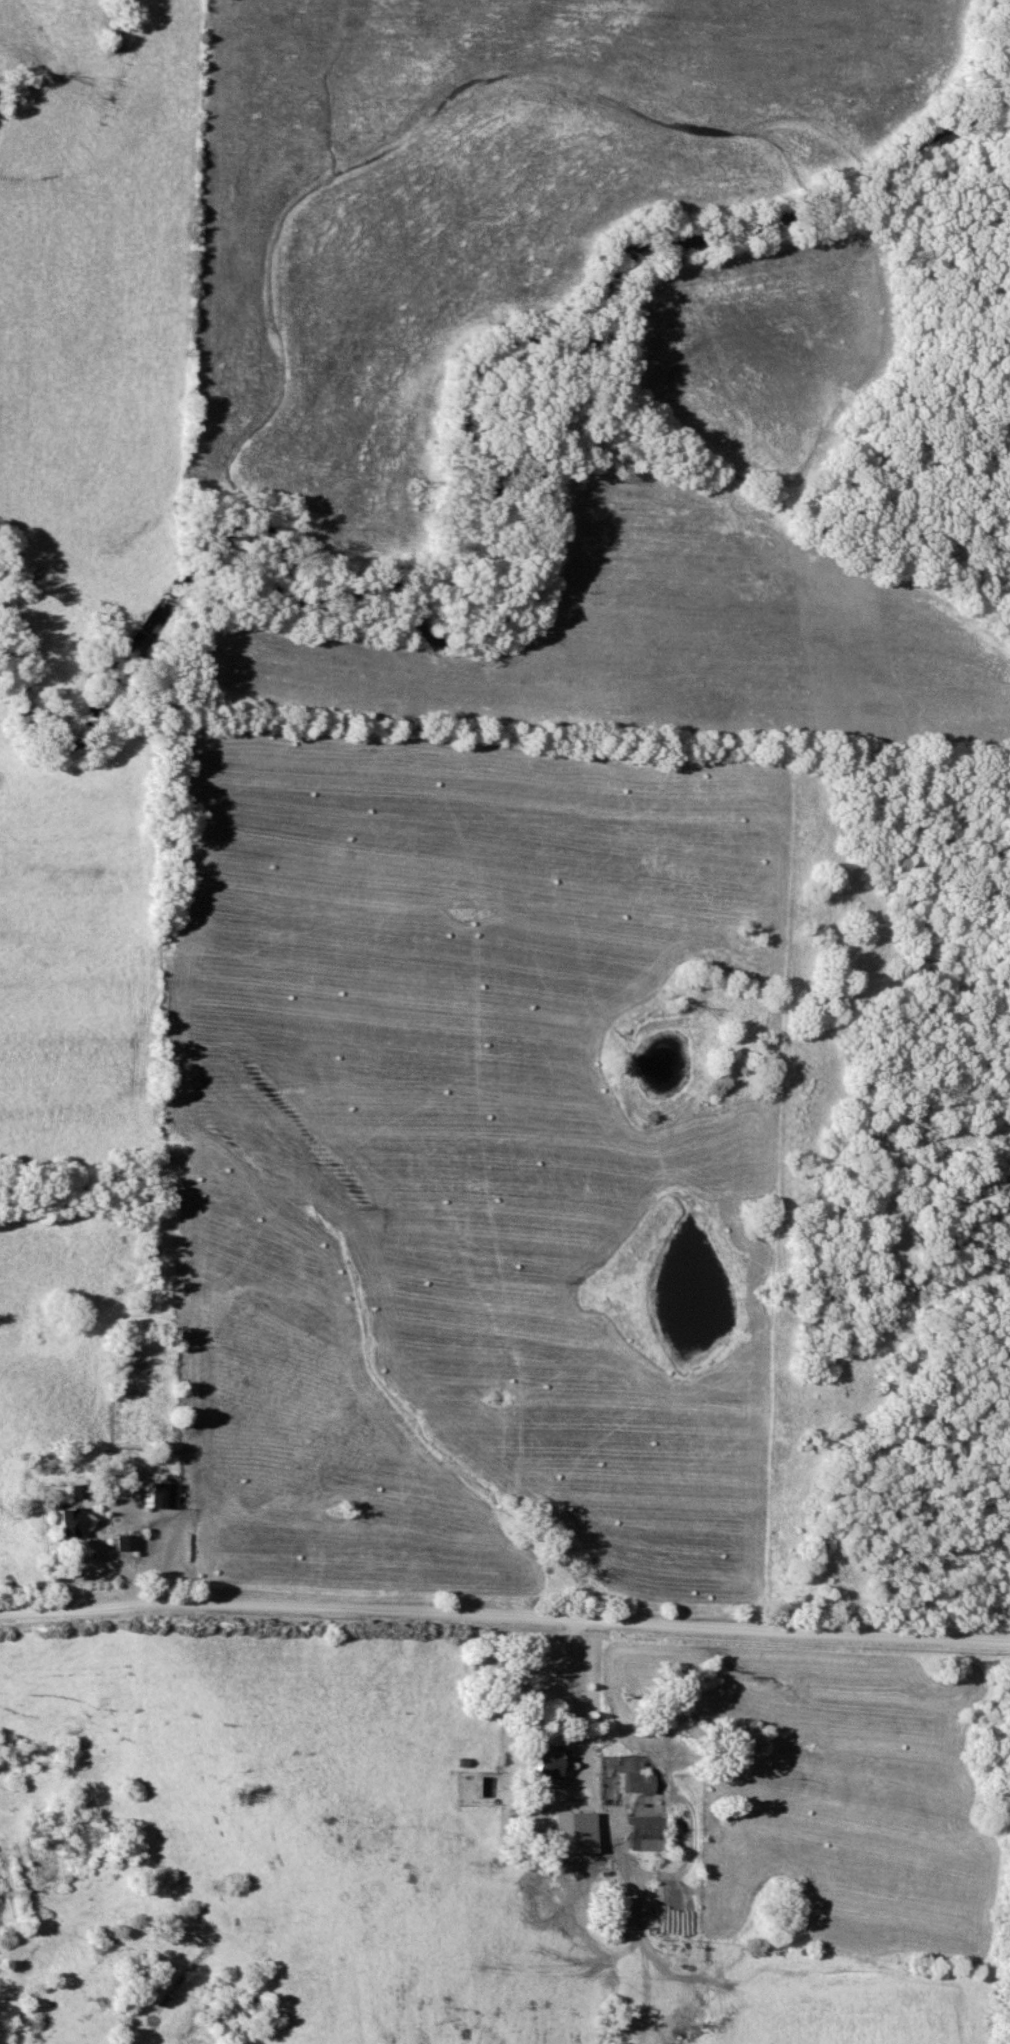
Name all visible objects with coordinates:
building: (132, 1358)
building: (80, 1490)
building: (162, 1495)
building: (80, 1522)
road: (504, 1618)
road: (577, 1703)
building: (551, 1766)
building: (641, 1782)
building: (650, 1834)

